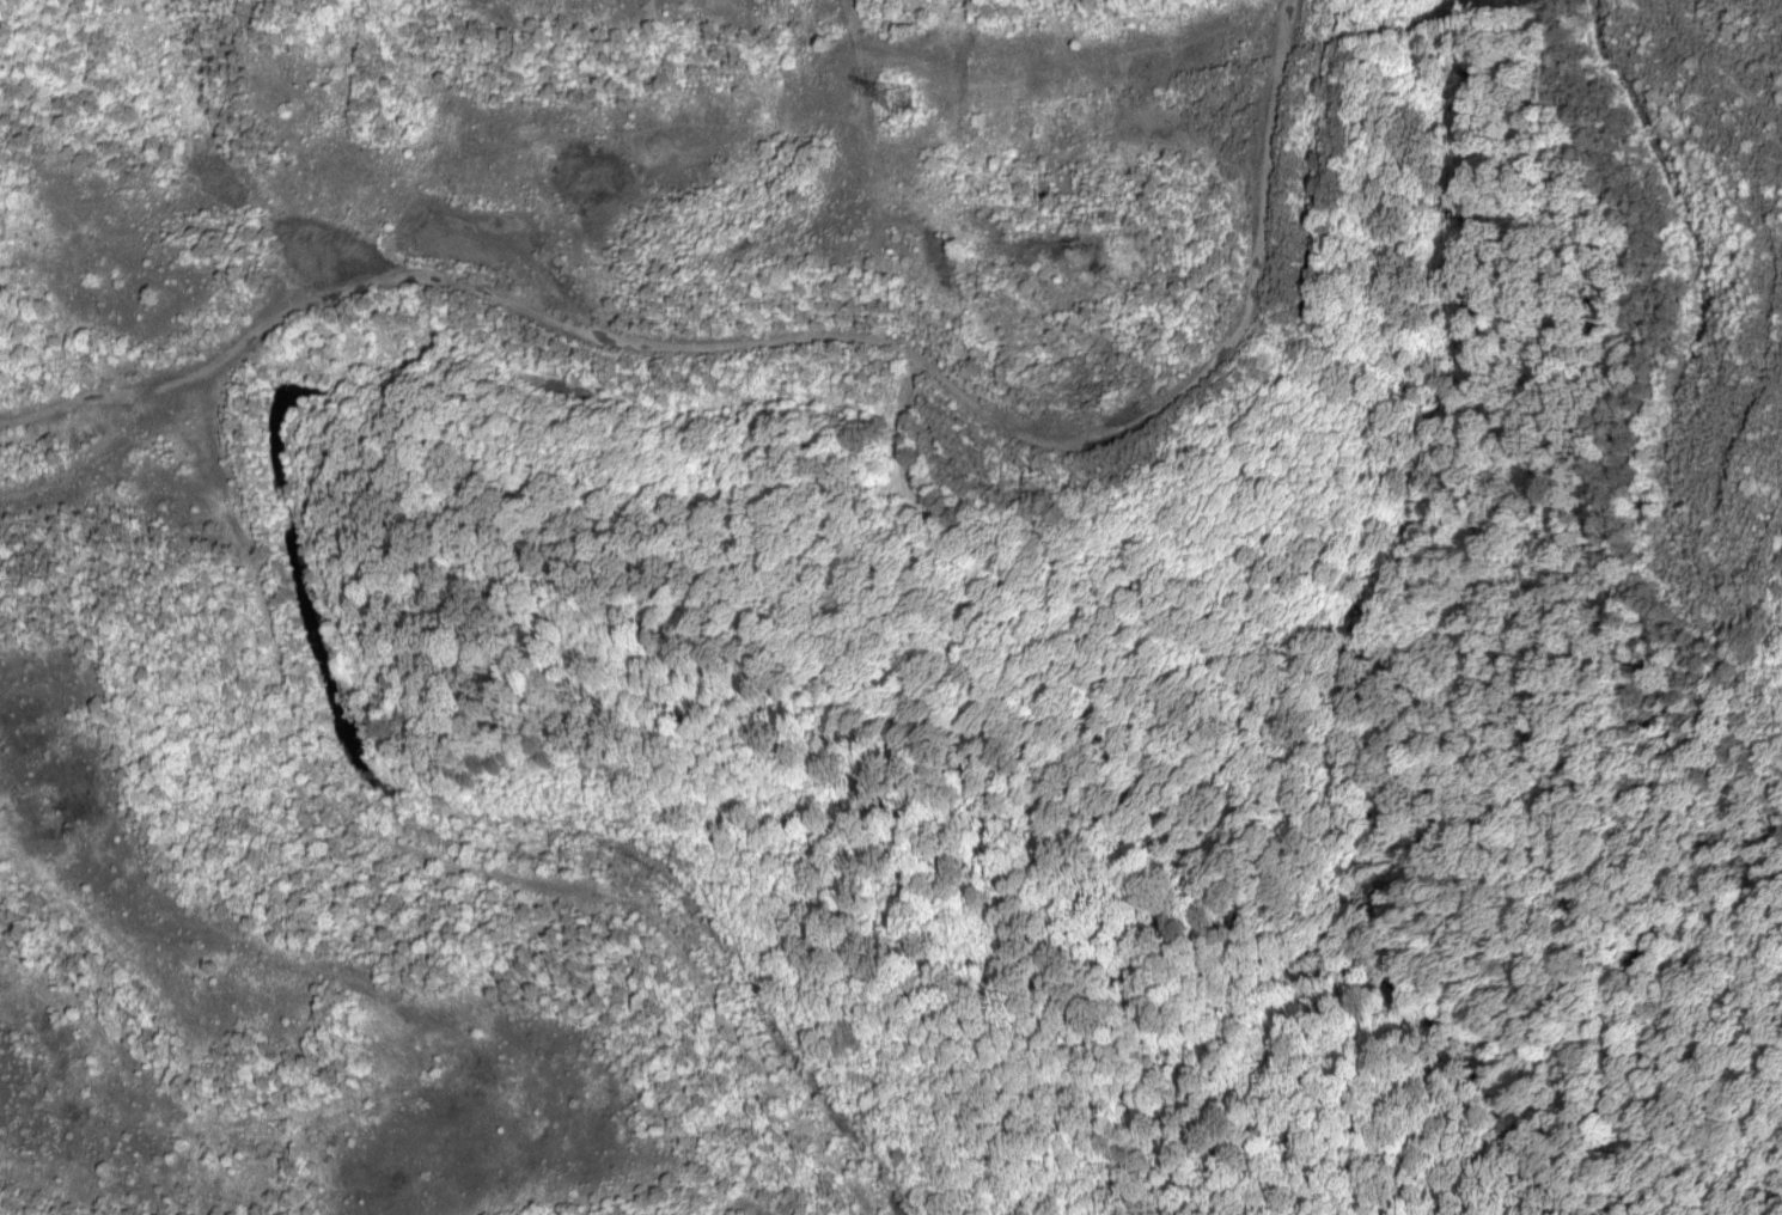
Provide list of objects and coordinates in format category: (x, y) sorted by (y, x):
power tower: (897, 99)

